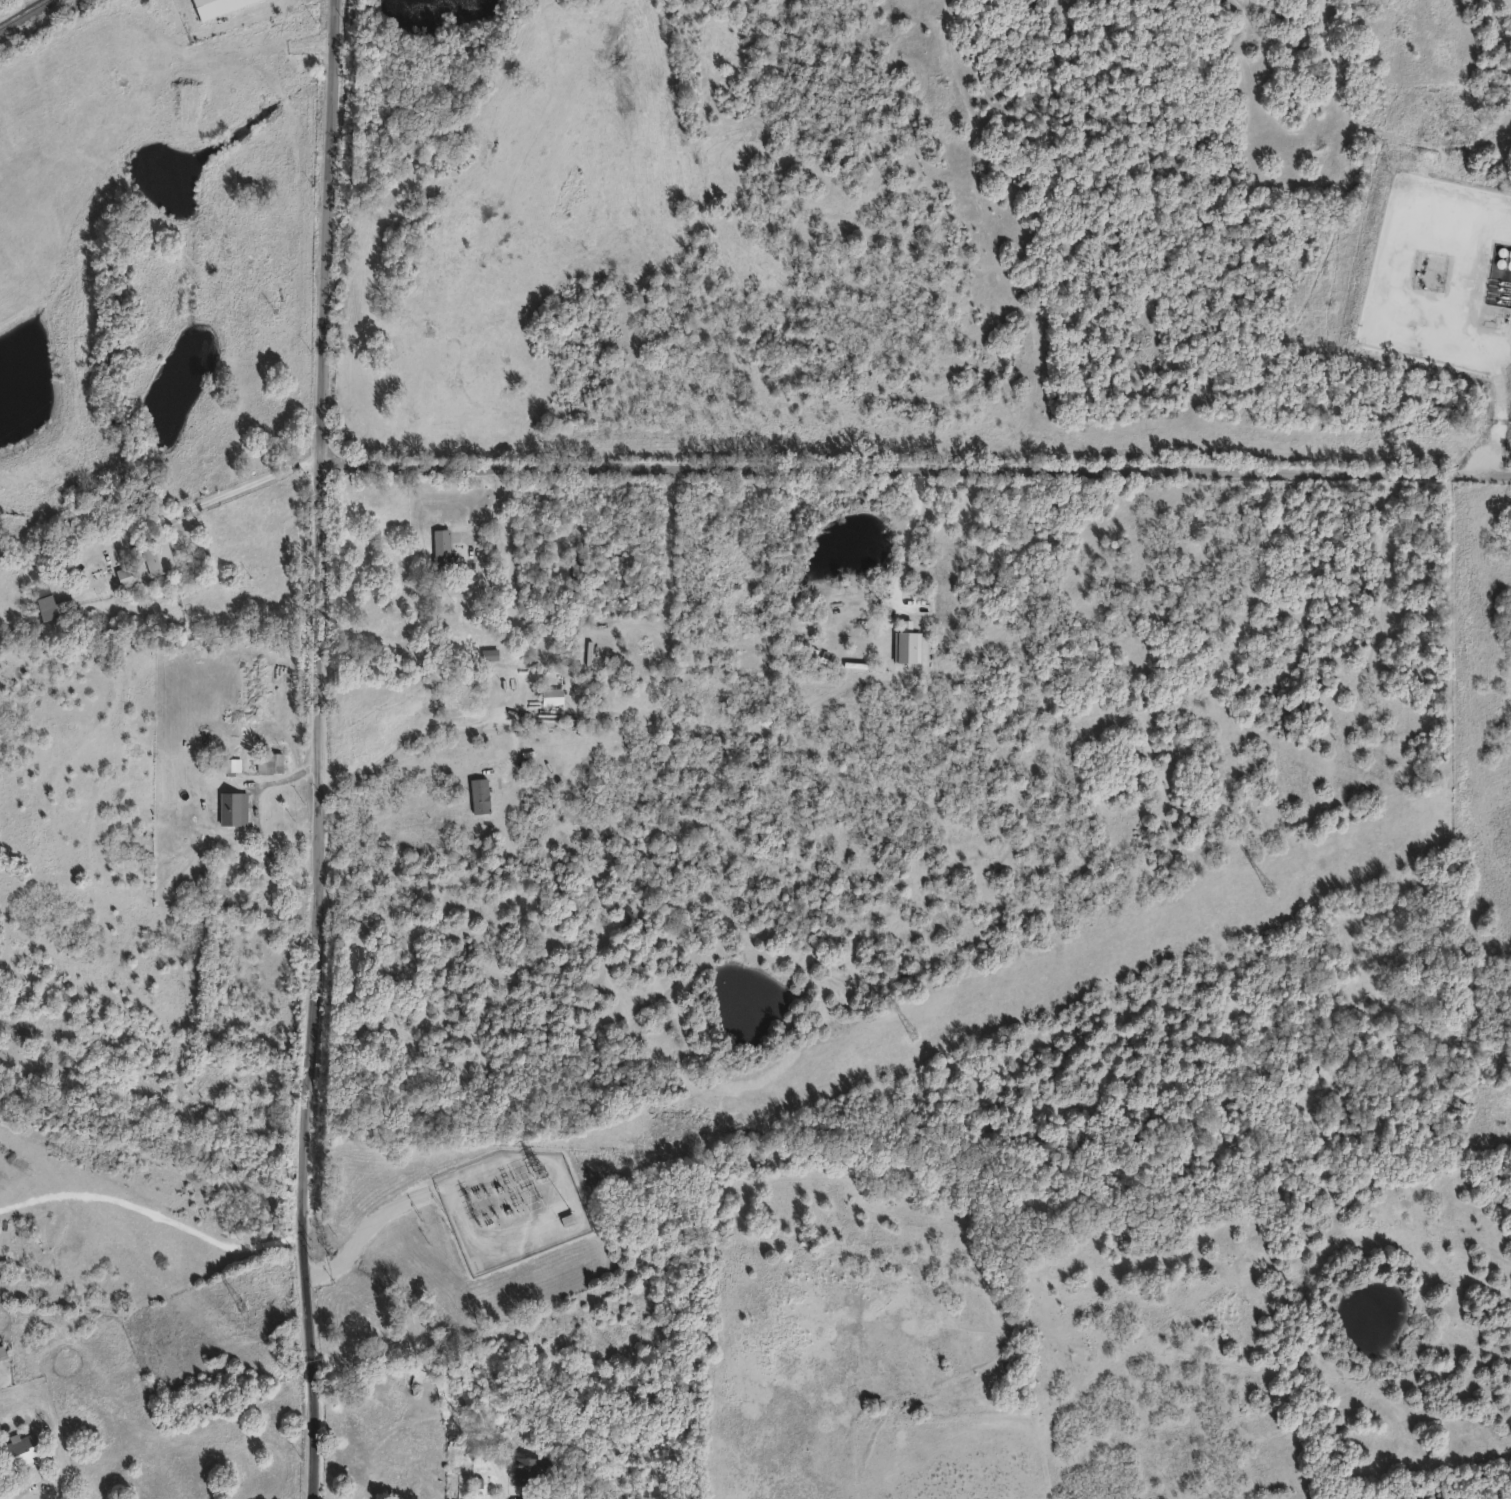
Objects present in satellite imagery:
building: (218, 6)
railway: (20, 11)
building: (1434, 202)
road: (918, 467)
road: (228, 493)
road: (494, 510)
road: (910, 537)
building: (442, 547)
building: (159, 557)
building: (129, 575)
building: (49, 601)
building: (461, 690)
building: (553, 695)
road: (416, 728)
road: (324, 749)
building: (271, 761)
building: (228, 765)
building: (481, 794)
building: (234, 807)
power tower: (1270, 887)
power tower: (913, 1033)
power tower: (547, 1169)
power substation: (510, 1205)
road: (156, 1212)
power tower: (242, 1306)
building: (3, 1350)
building: (418, 1377)
building: (20, 1451)
building: (535, 1469)
road: (39, 1481)
building: (538, 1497)

